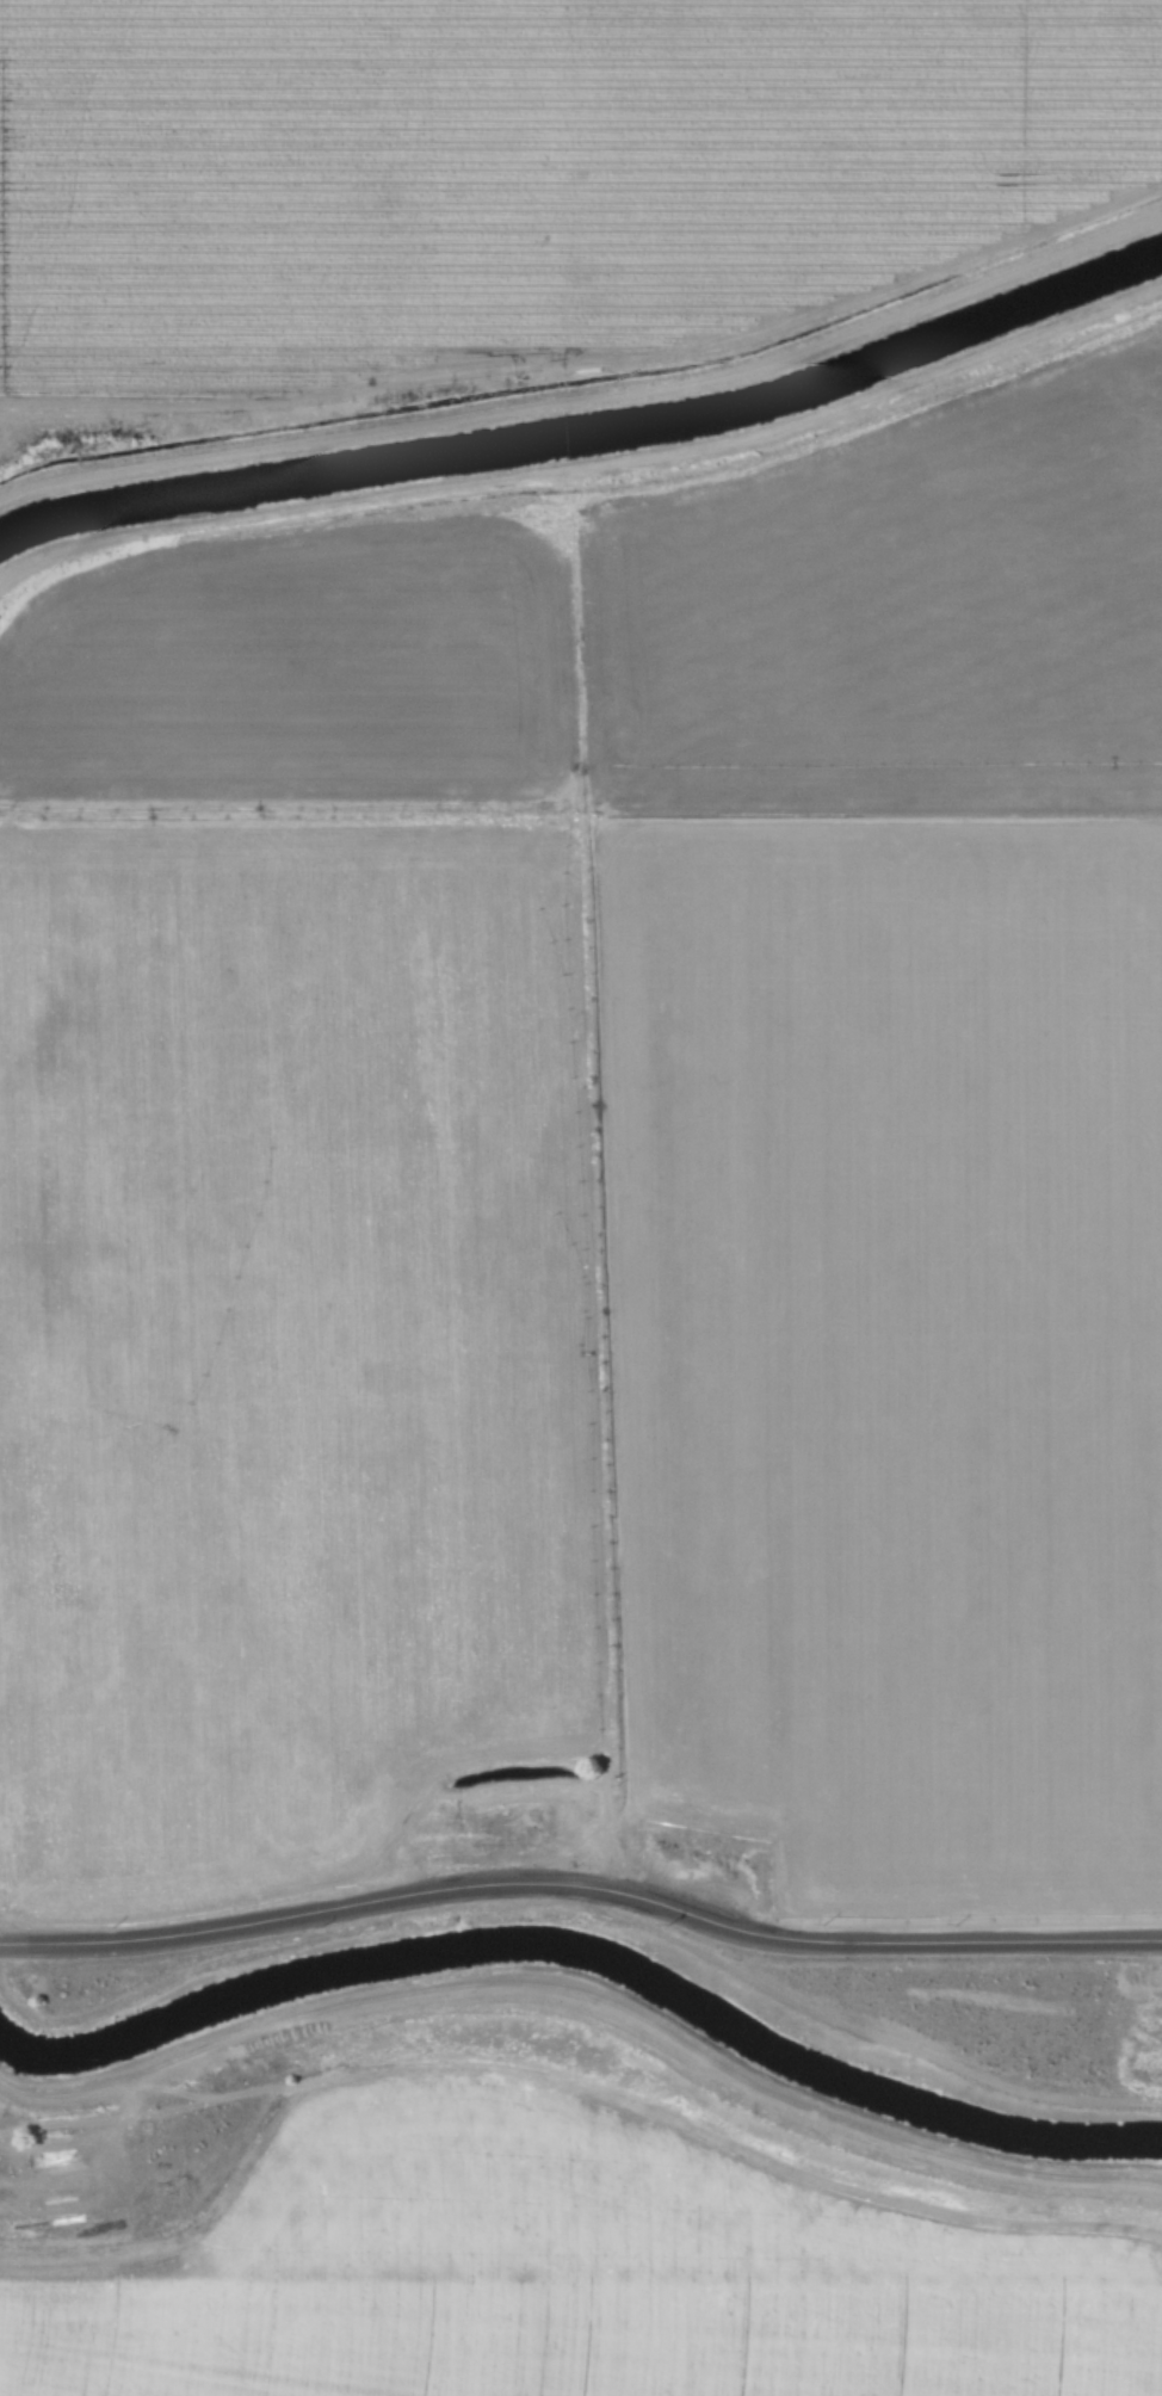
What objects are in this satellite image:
road: (582, 1885)

